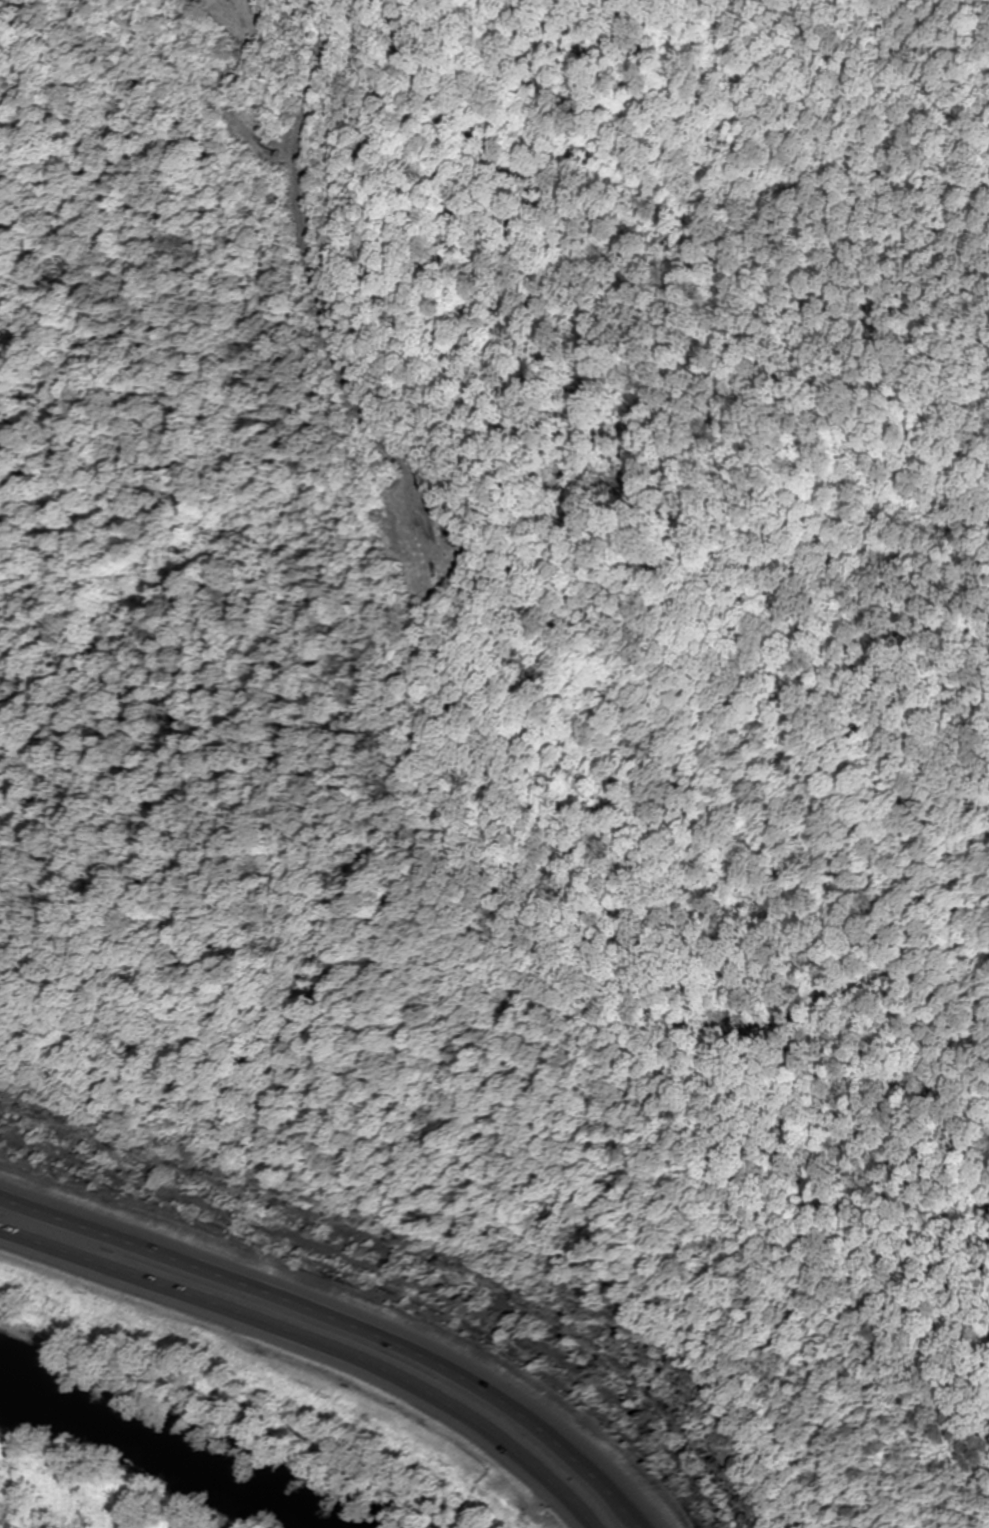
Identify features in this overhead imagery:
road: (337, 1325)
road: (311, 1348)
river: (168, 1458)

